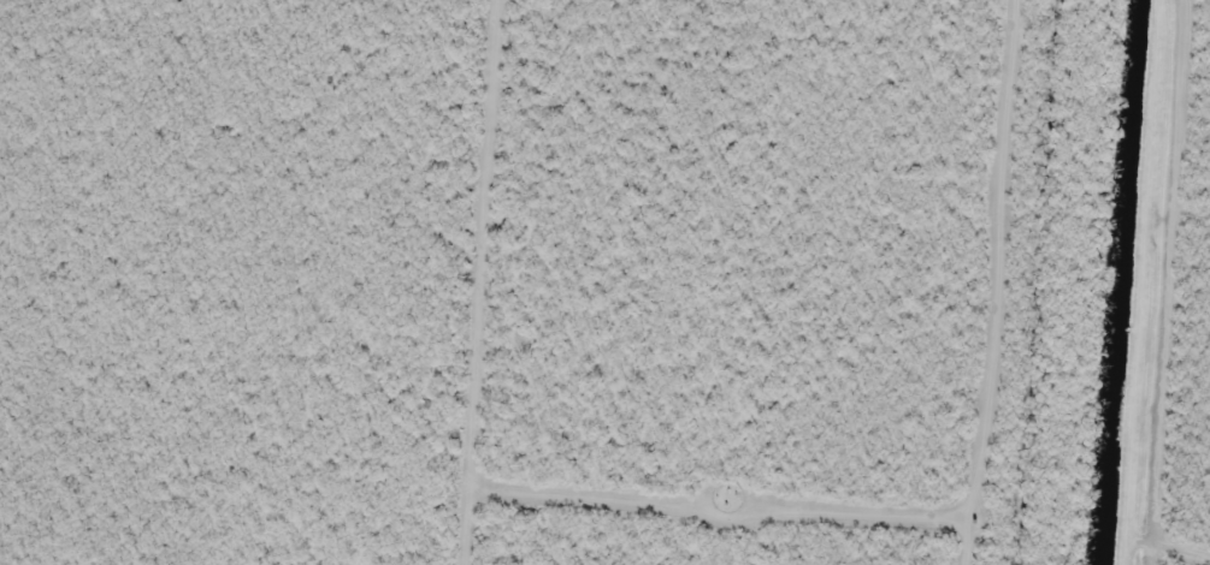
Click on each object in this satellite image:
road: (497, 281)

